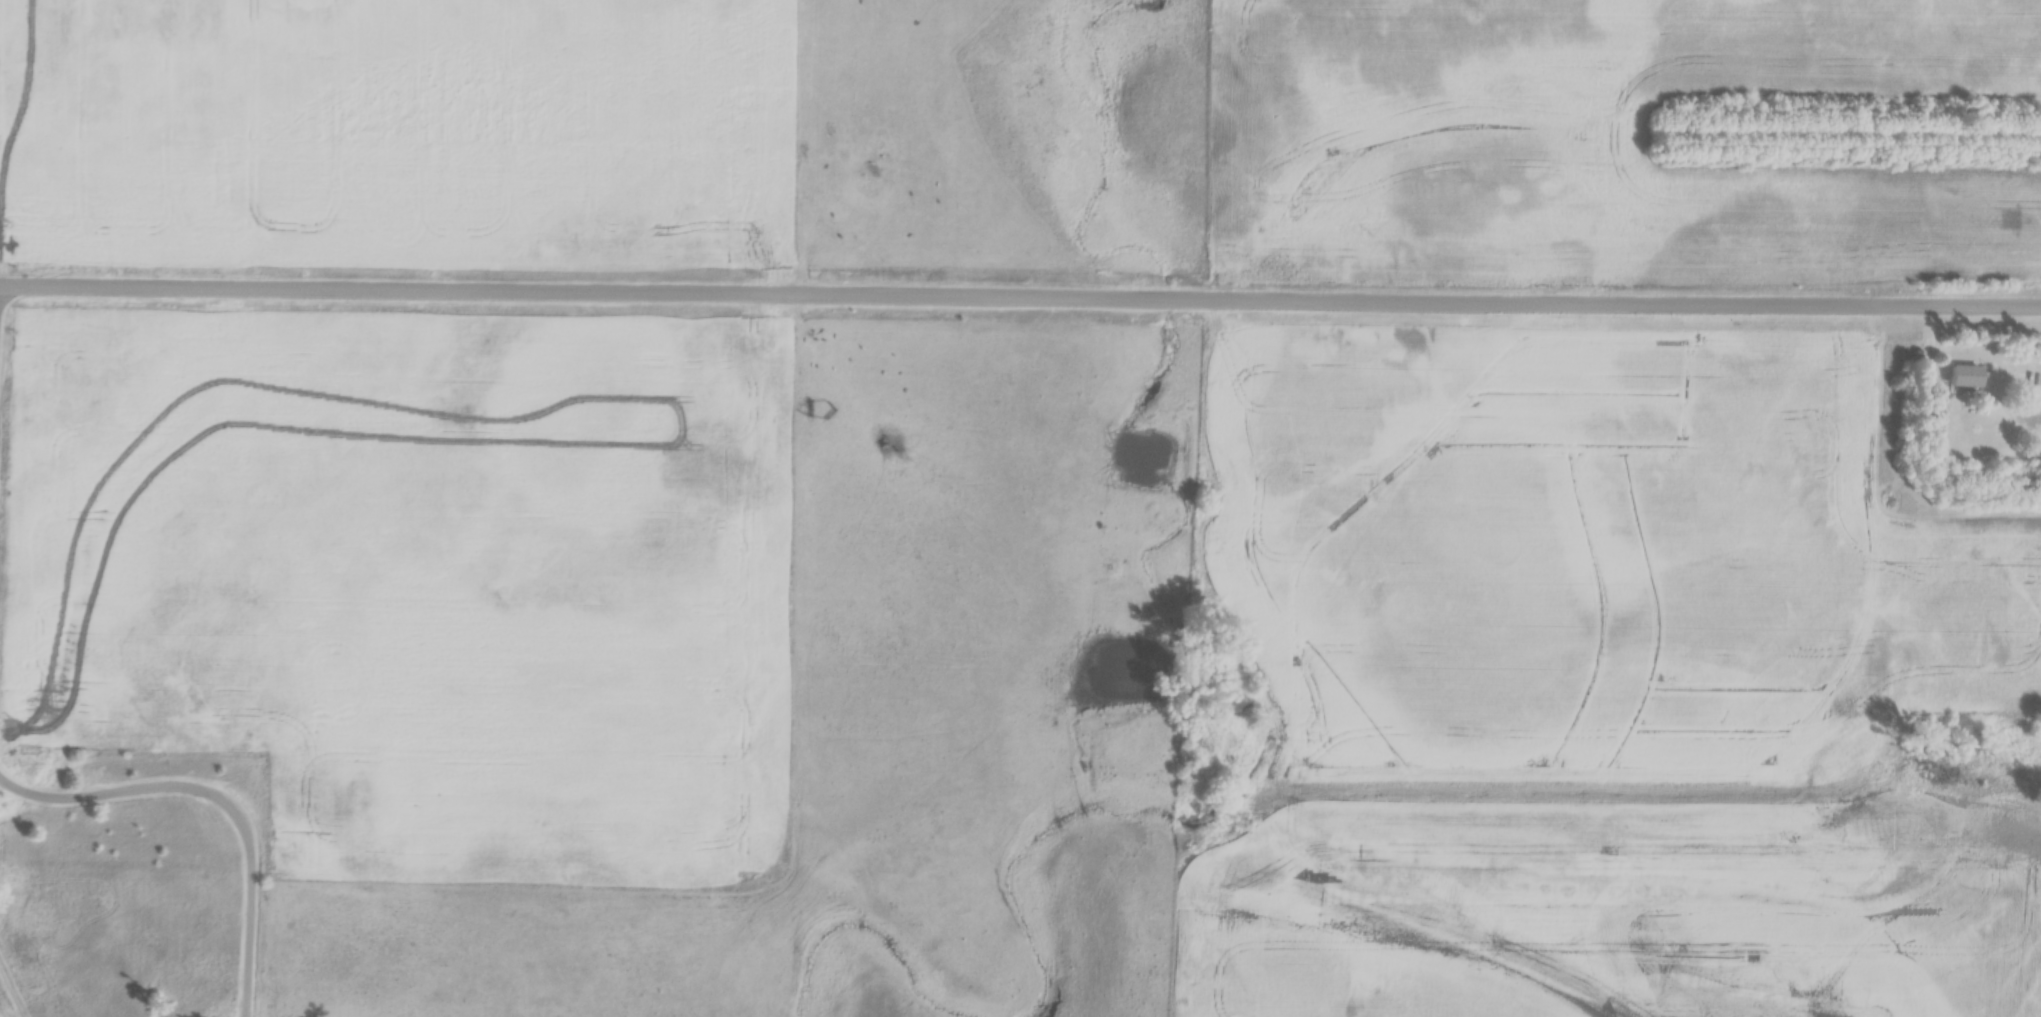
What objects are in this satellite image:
road: (599, 289)
road: (1619, 299)
building: (1966, 376)
road: (223, 799)

